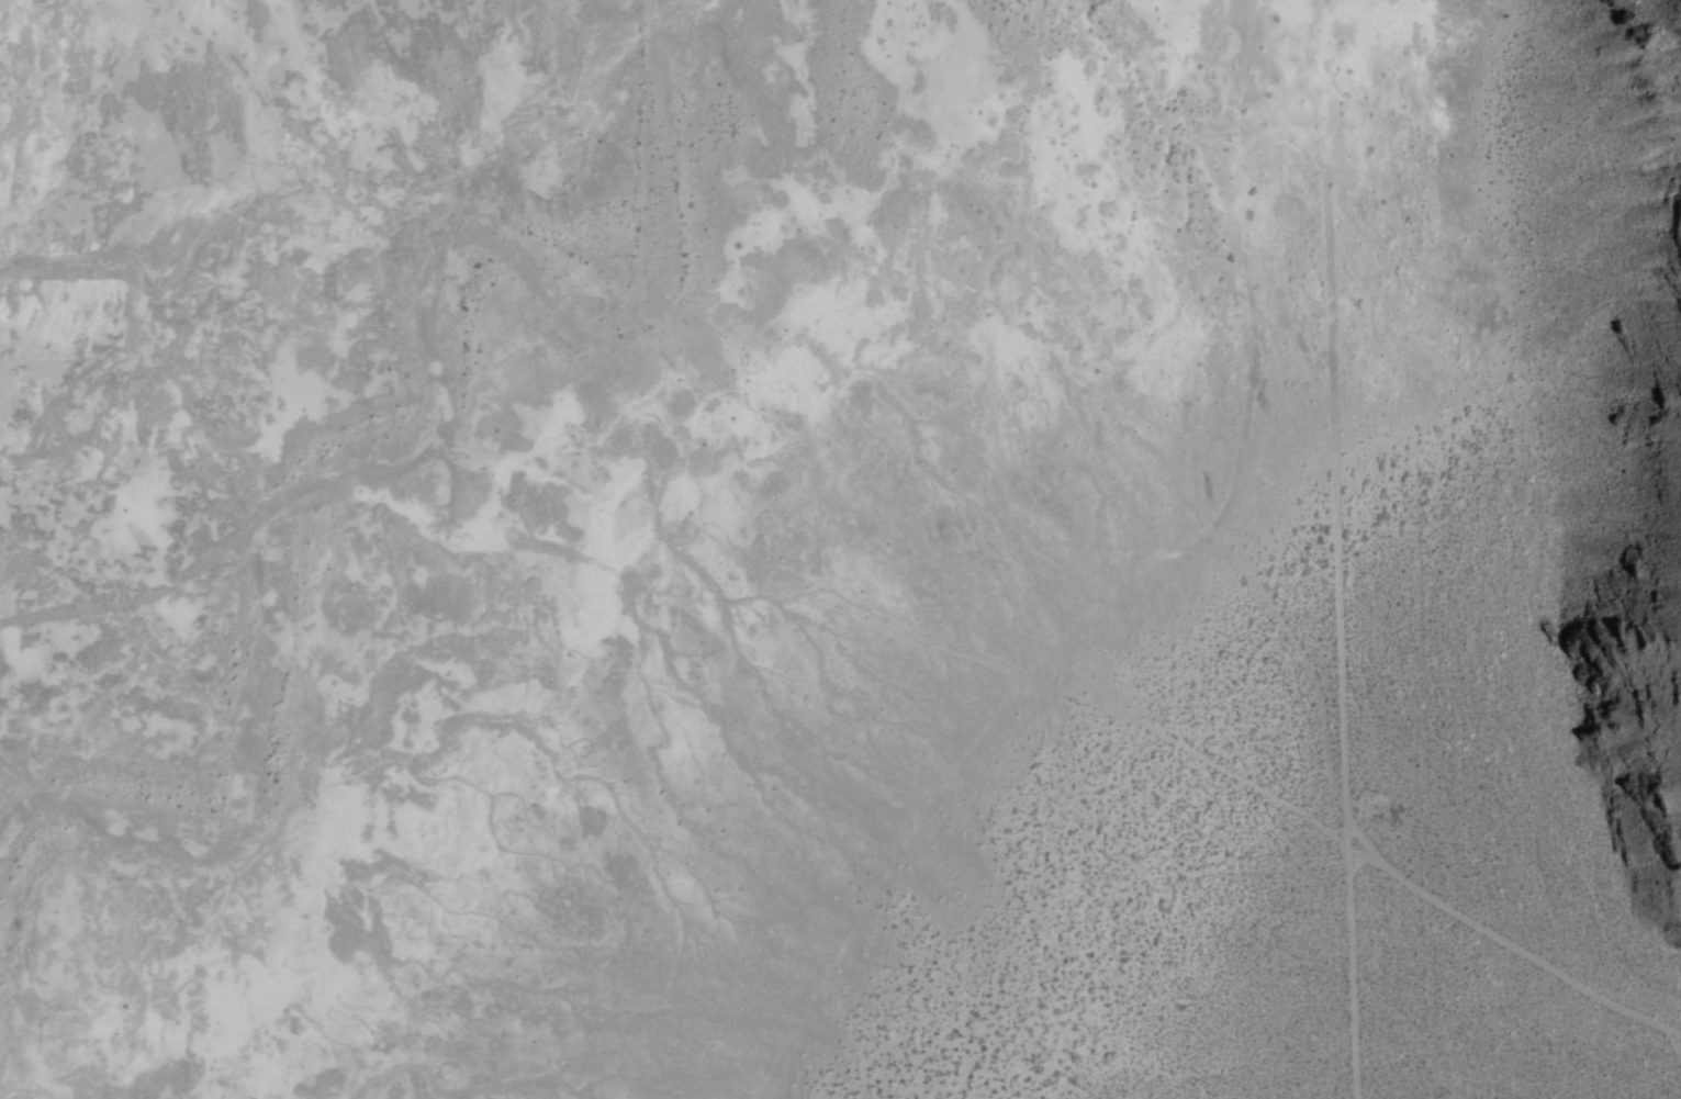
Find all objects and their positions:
road: (211, 572)
road: (1345, 608)
road: (1359, 961)

